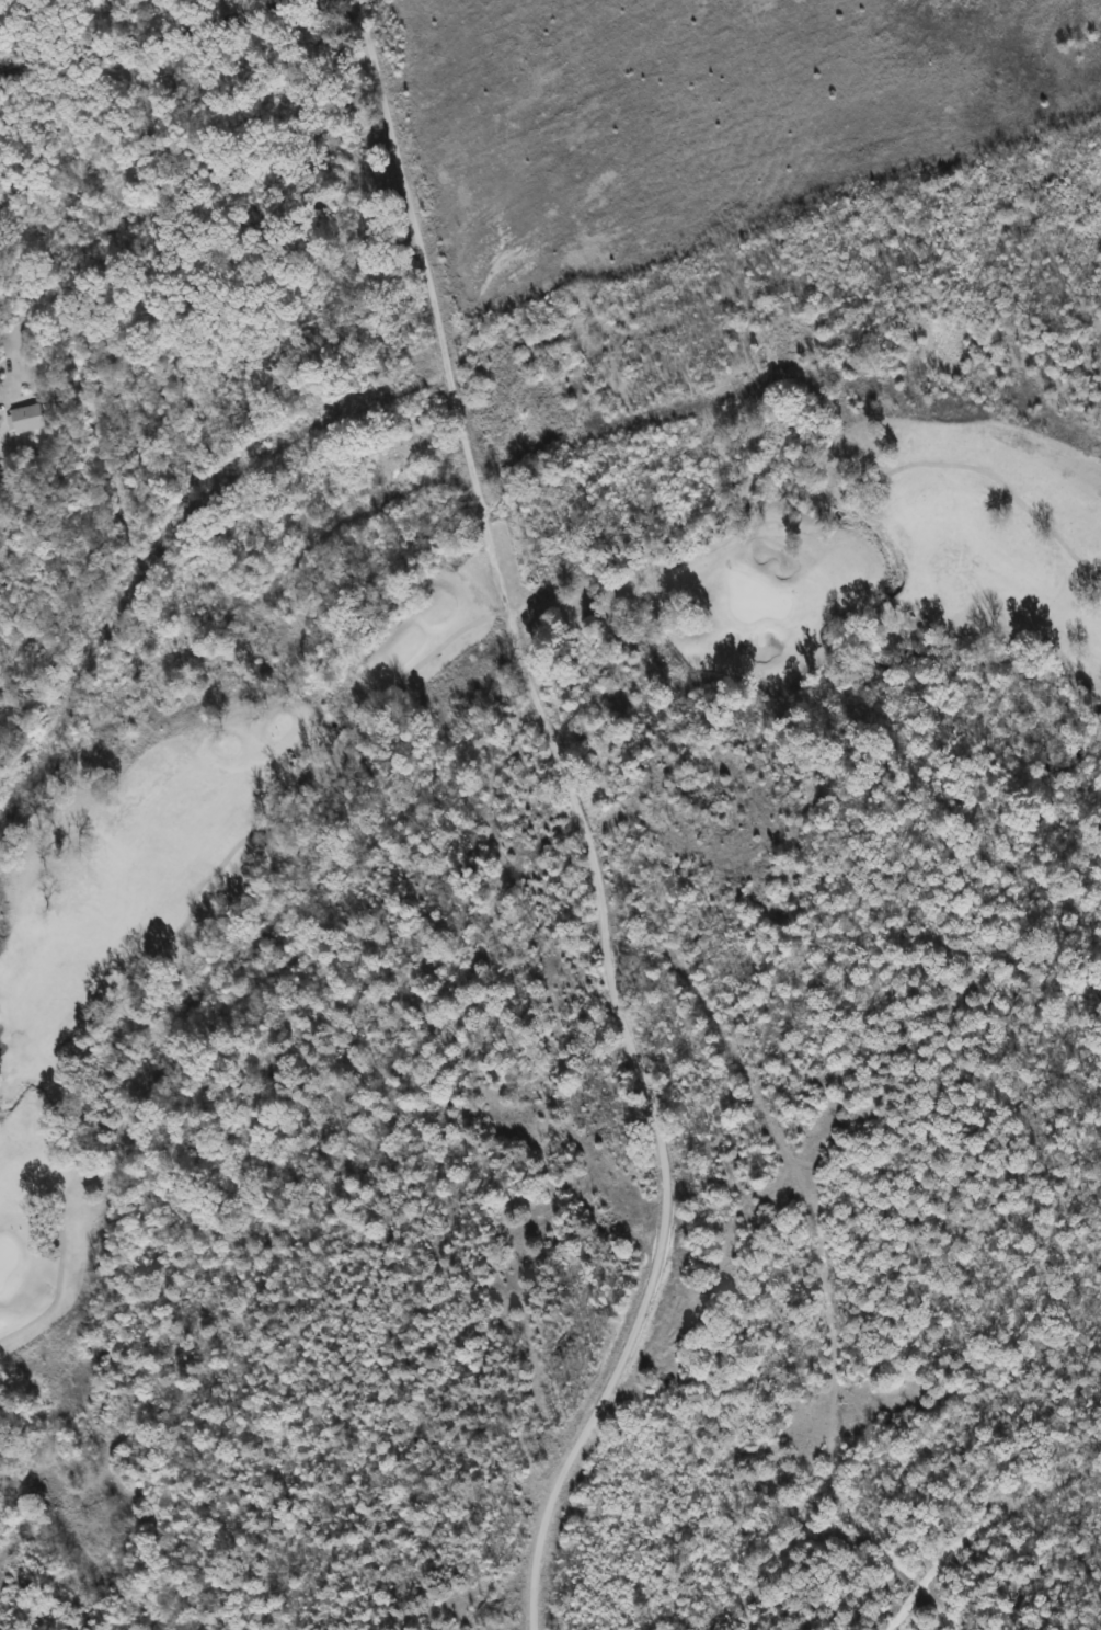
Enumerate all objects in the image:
road: (179, 43)
building: (26, 419)
road: (821, 521)
road: (570, 818)
road: (170, 941)

